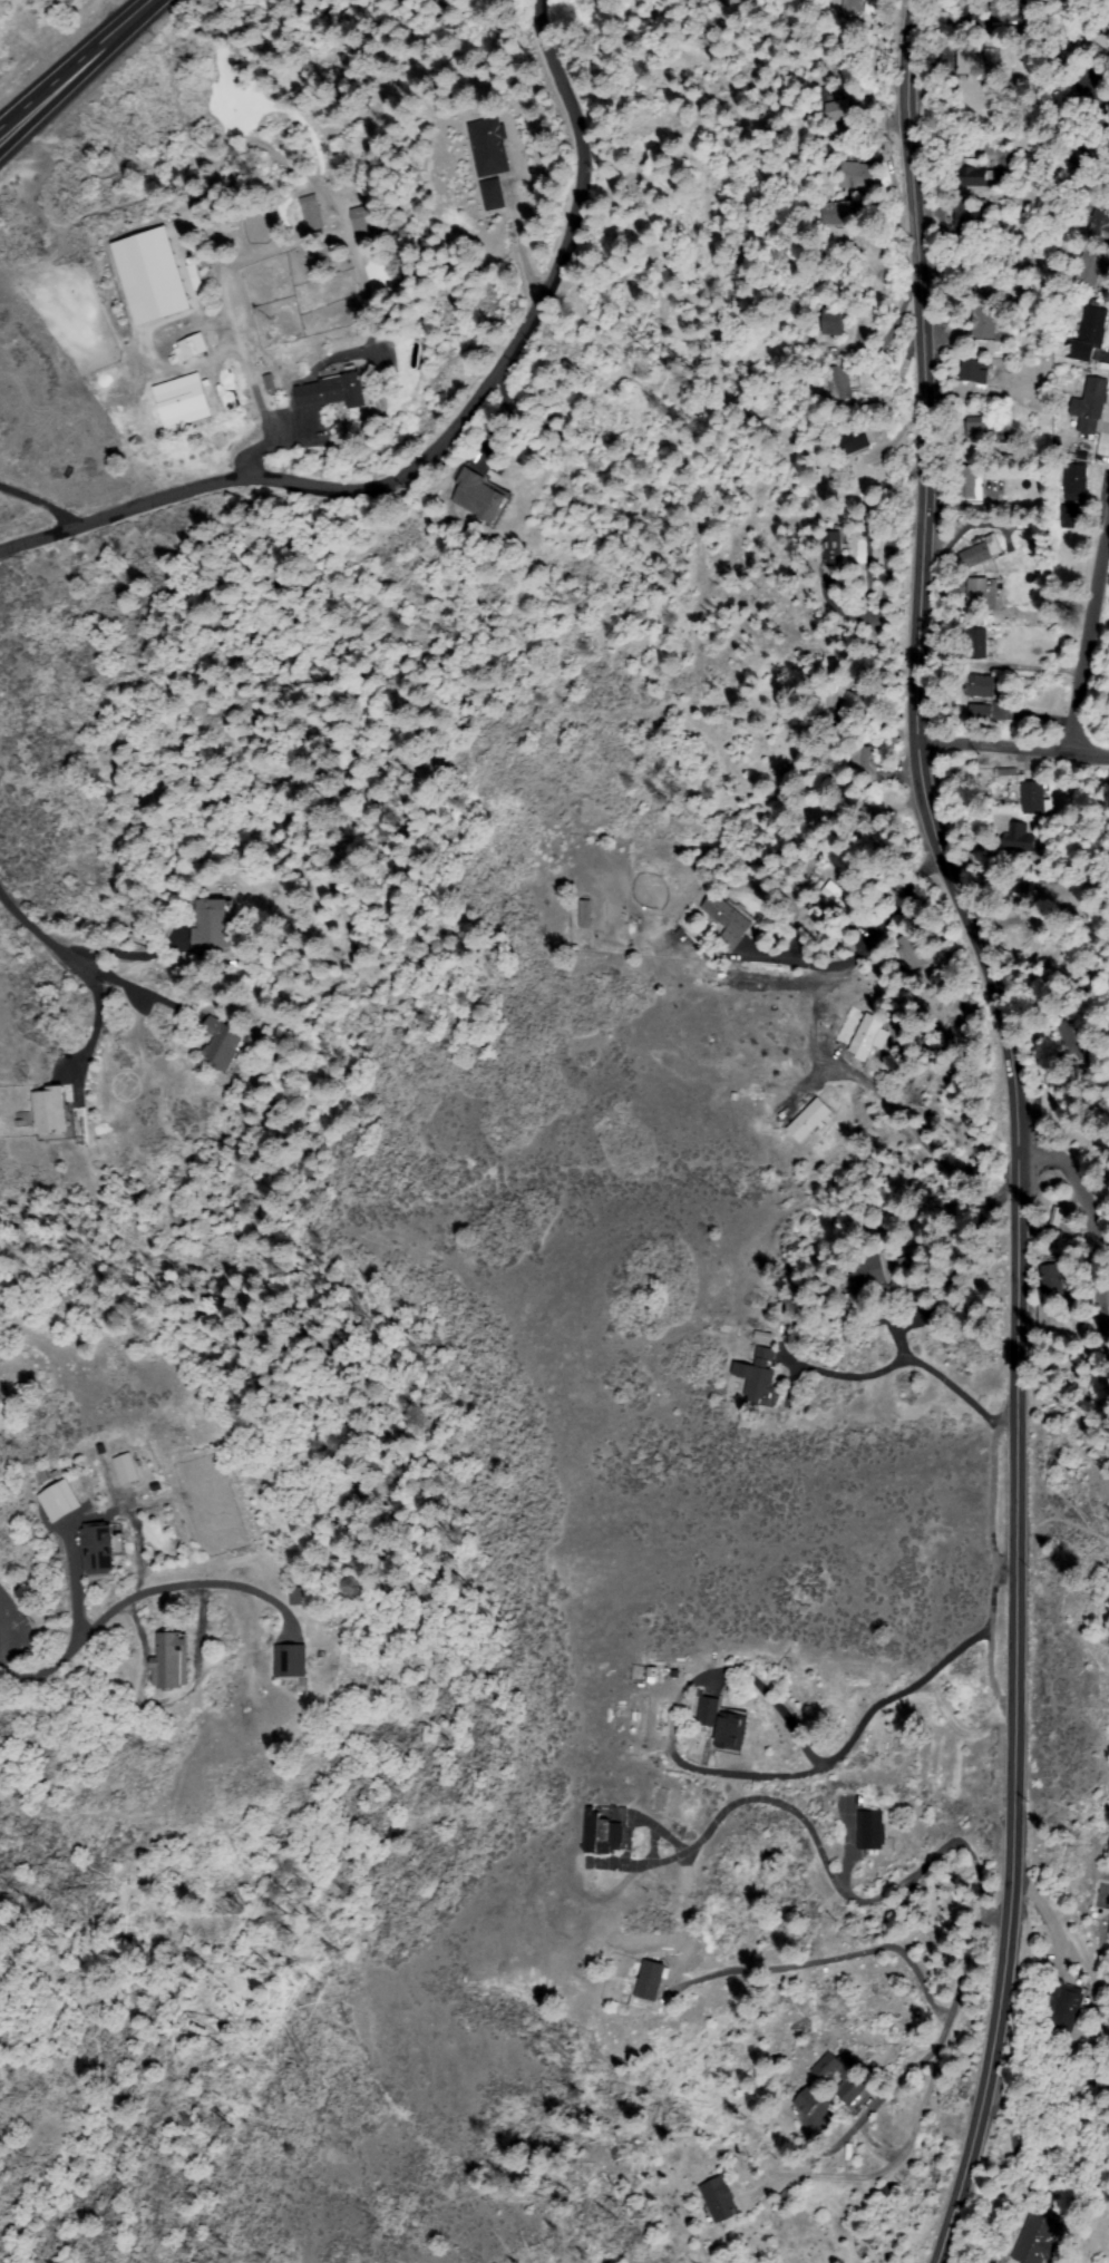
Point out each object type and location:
building: (850, 7)
building: (1003, 12)
road: (115, 31)
building: (970, 60)
building: (1095, 86)
road: (50, 92)
building: (837, 110)
road: (10, 128)
road: (10, 131)
building: (1092, 143)
building: (487, 148)
building: (856, 176)
building: (975, 178)
building: (490, 195)
building: (312, 213)
building: (845, 214)
building: (972, 216)
building: (366, 221)
building: (1101, 222)
building: (1092, 267)
building: (152, 276)
building: (984, 282)
building: (833, 322)
building: (988, 324)
building: (1088, 336)
building: (192, 347)
building: (973, 371)
building: (839, 382)
building: (332, 392)
building: (177, 400)
building: (1089, 406)
building: (984, 431)
road: (451, 433)
building: (852, 441)
building: (965, 481)
building: (1074, 484)
building: (481, 497)
road: (40, 506)
building: (1070, 518)
building: (835, 553)
building: (974, 556)
building: (979, 595)
road: (1092, 637)
building: (977, 645)
building: (979, 689)
building: (853, 700)
building: (829, 708)
building: (986, 712)
building: (1012, 719)
road: (1014, 749)
building: (864, 762)
building: (1004, 774)
building: (1034, 797)
building: (829, 812)
building: (1015, 839)
building: (973, 855)
building: (1050, 882)
building: (1020, 892)
building: (840, 899)
building: (584, 915)
building: (728, 920)
road: (28, 923)
building: (212, 926)
building: (911, 950)
building: (1072, 1036)
building: (870, 1037)
building: (225, 1045)
building: (52, 1115)
building: (810, 1121)
road: (1019, 1126)
road: (1064, 1152)
building: (864, 1276)
building: (1051, 1279)
building: (899, 1287)
building: (925, 1293)
building: (758, 1378)
building: (126, 1469)
building: (60, 1501)
building: (100, 1548)
building: (303, 1597)
road: (120, 1598)
road: (3, 1619)
building: (171, 1661)
building: (291, 1661)
building: (723, 1726)
building: (872, 1832)
building: (604, 1835)
building: (650, 1981)
building: (1064, 2006)
building: (825, 2076)
road: (1068, 2090)
building: (808, 2101)
building: (720, 2199)
building: (1038, 2241)

